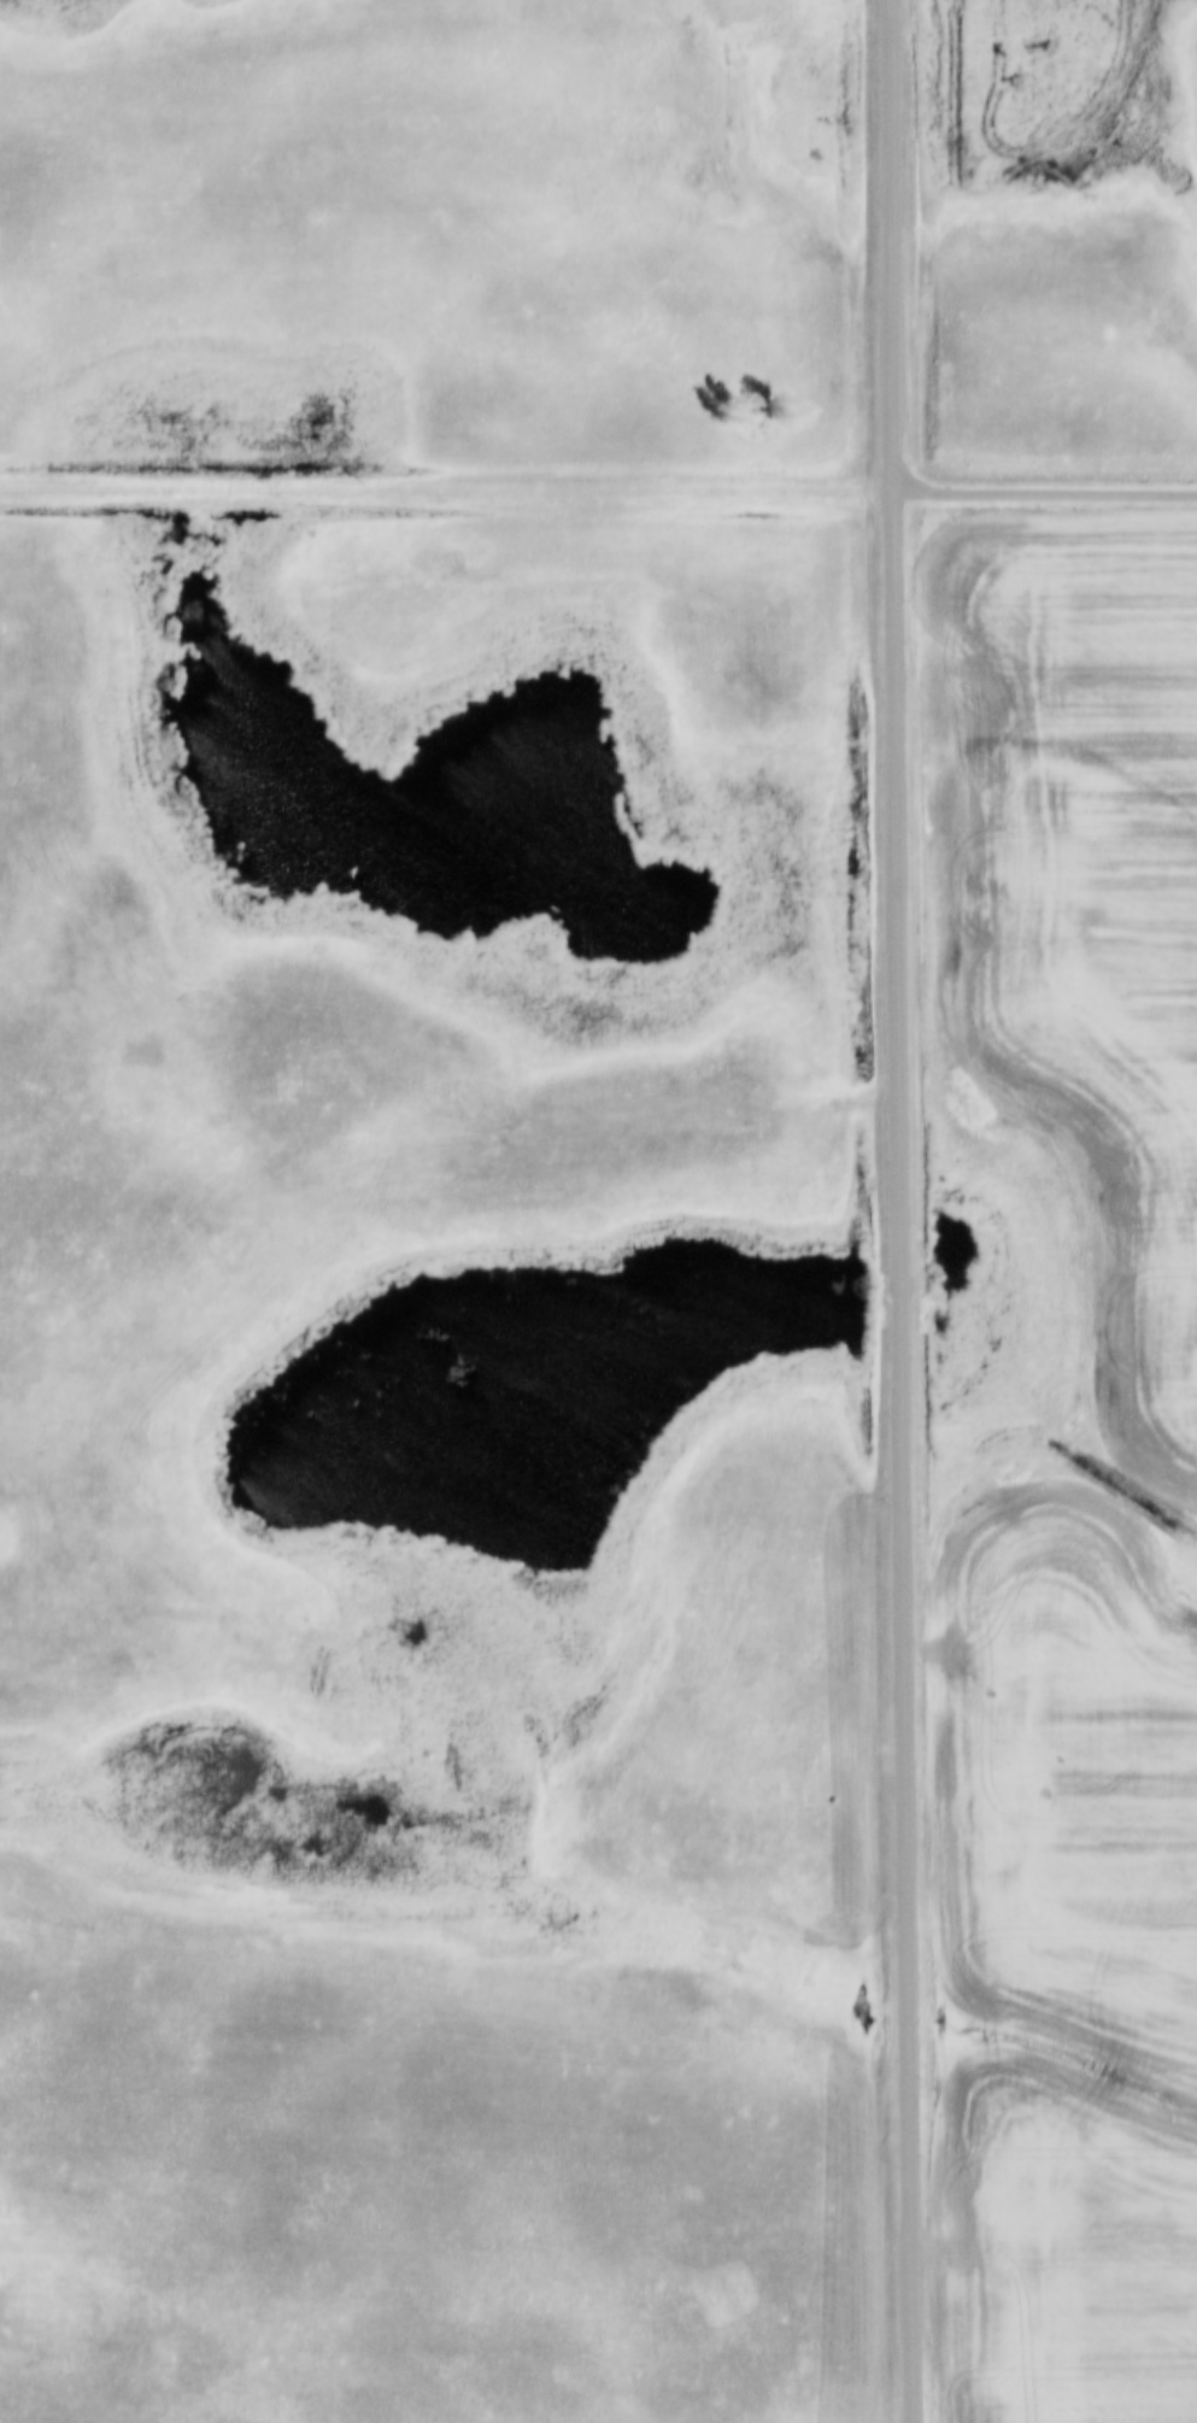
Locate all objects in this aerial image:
road: (447, 492)
road: (1045, 495)
road: (902, 1211)

